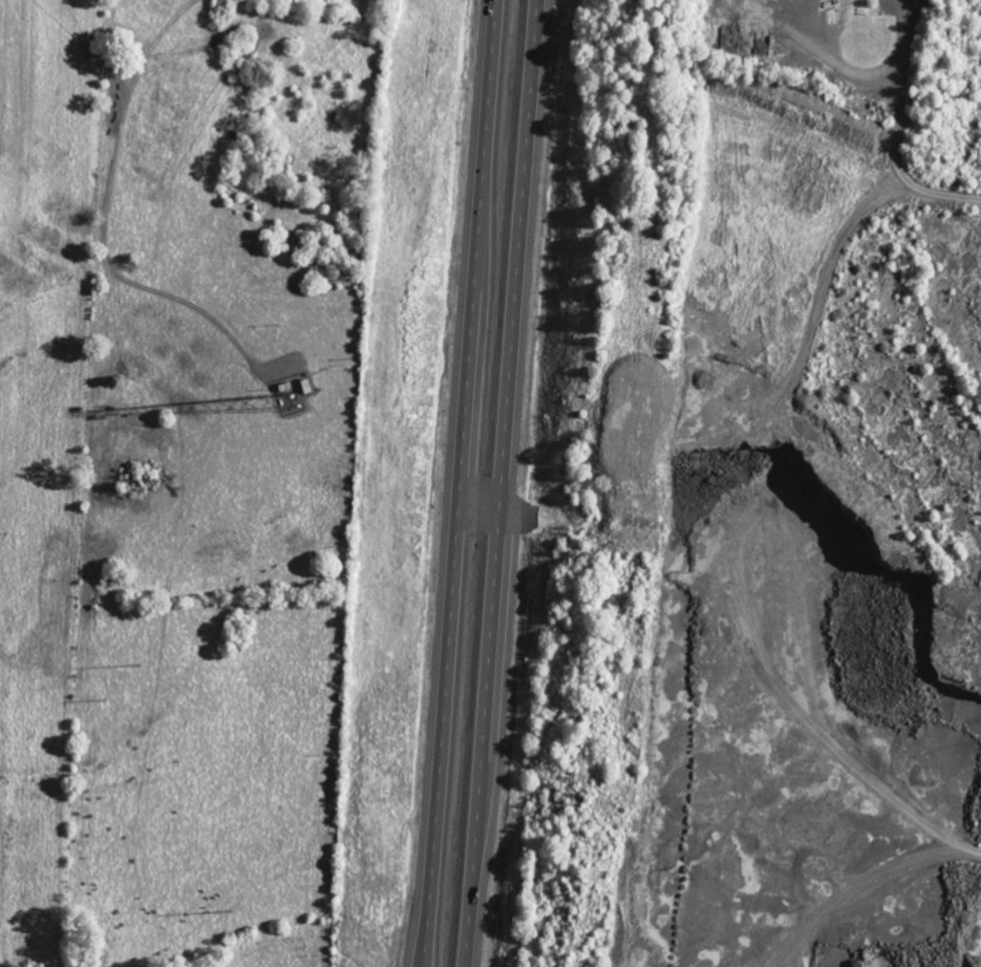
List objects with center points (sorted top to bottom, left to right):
road: (893, 63)
road: (461, 483)
road: (504, 483)
quarry: (755, 498)

